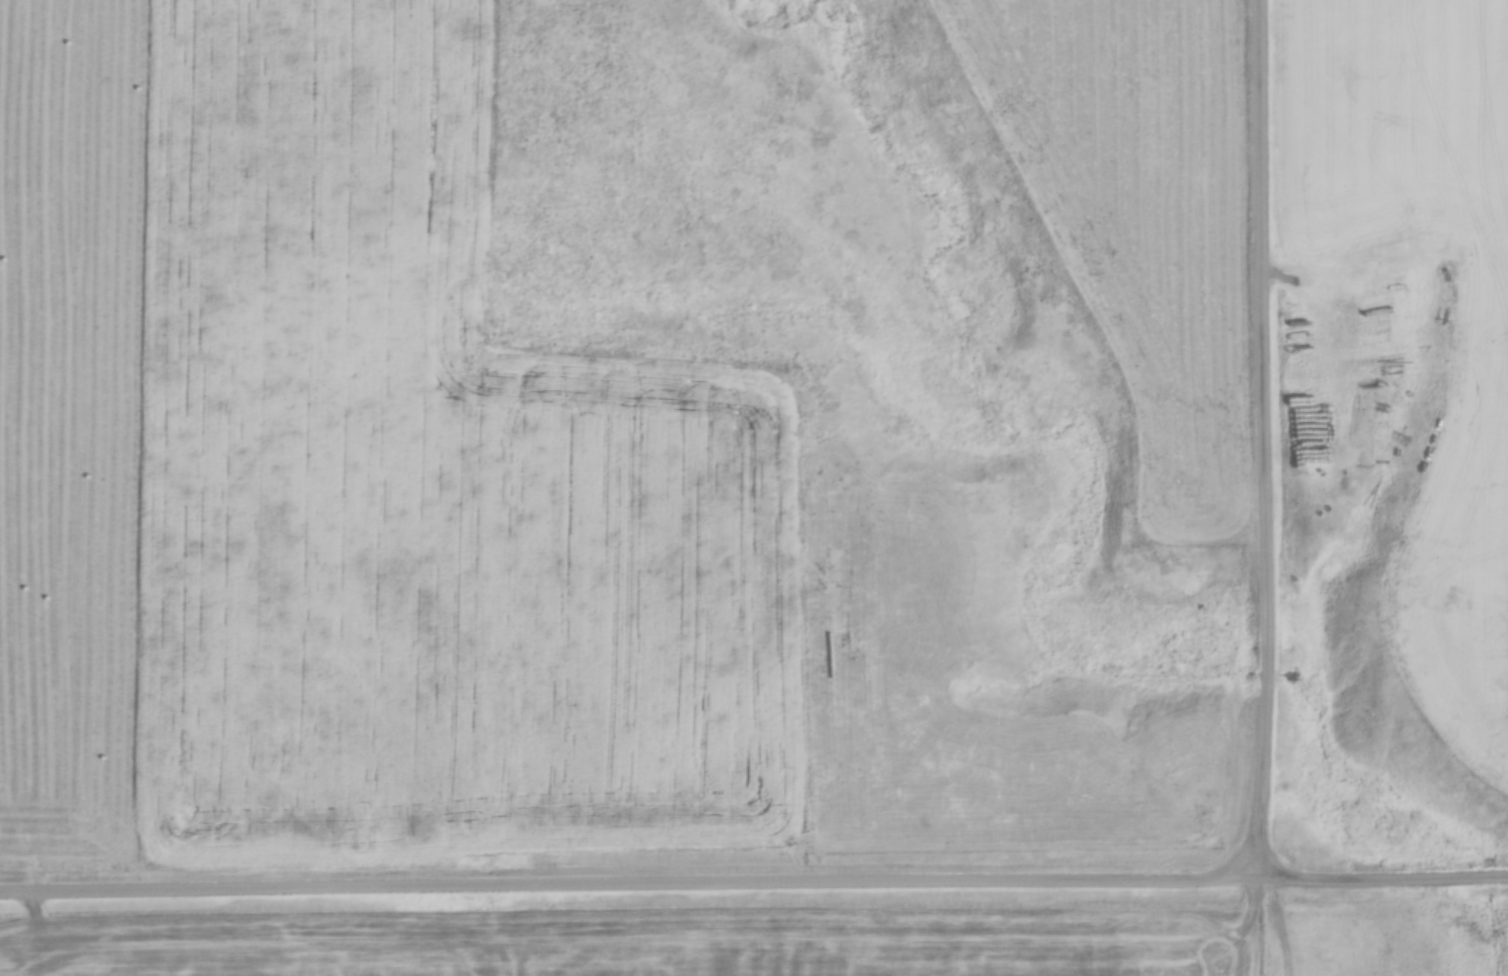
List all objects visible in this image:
road: (1268, 252)
road: (1271, 696)
road: (753, 888)

